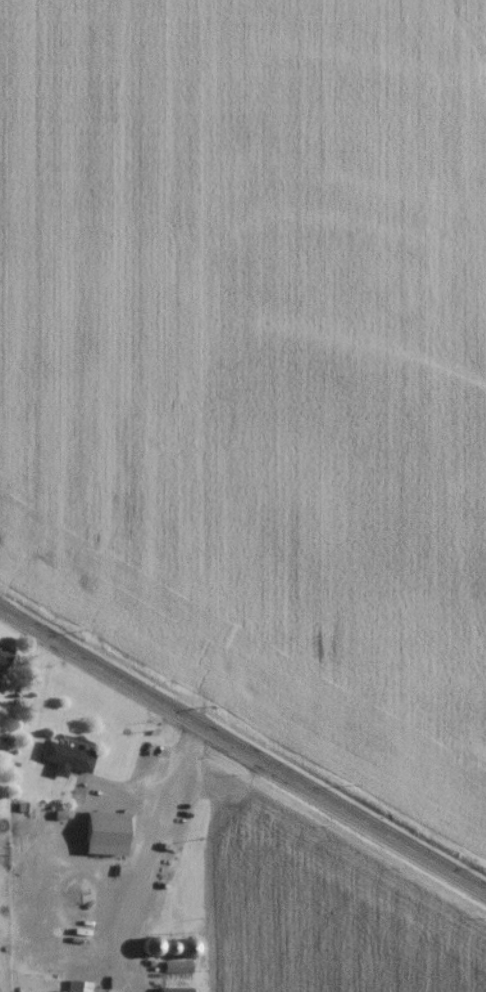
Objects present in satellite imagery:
building: (2, 660)
road: (242, 751)
building: (61, 763)
building: (100, 837)
building: (75, 988)
building: (170, 991)

